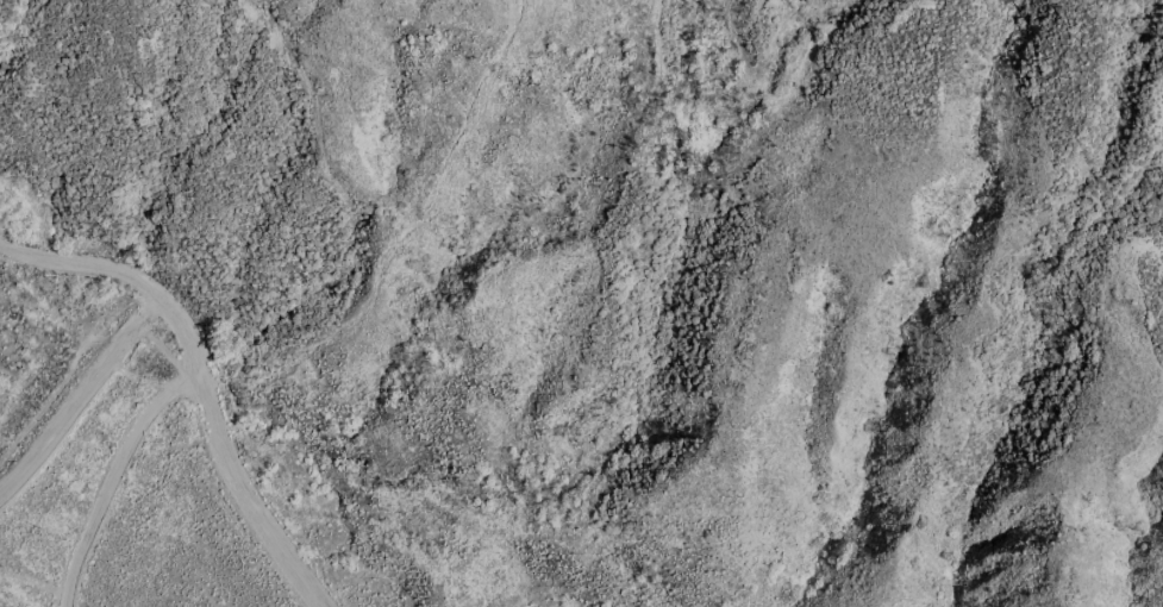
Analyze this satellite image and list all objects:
road: (83, 271)
road: (76, 398)
road: (221, 464)
road: (107, 475)

